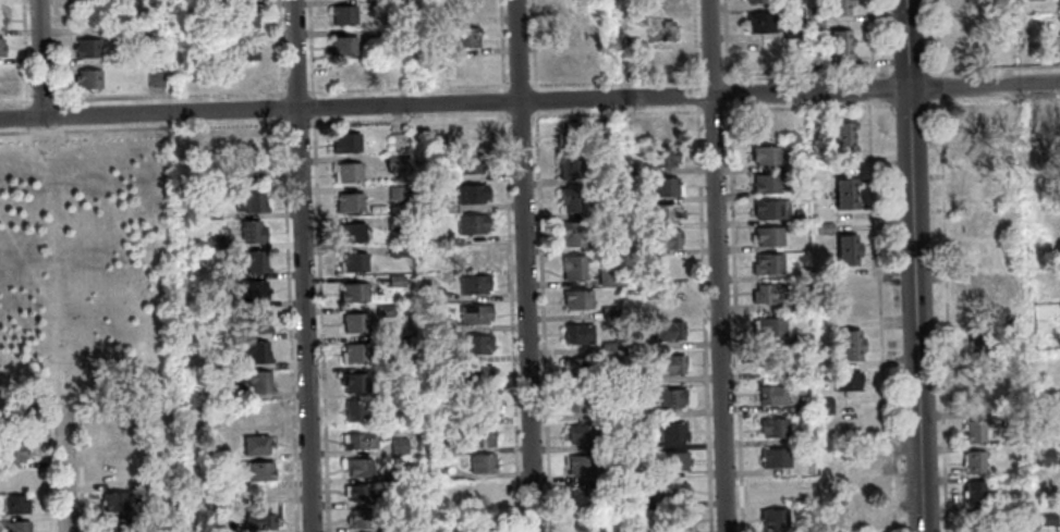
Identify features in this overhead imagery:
building: (758, 1)
building: (381, 4)
building: (1059, 4)
building: (660, 5)
building: (566, 7)
building: (837, 7)
building: (466, 8)
building: (625, 9)
building: (970, 10)
building: (815, 12)
building: (87, 14)
building: (343, 14)
building: (188, 15)
building: (248, 18)
building: (2, 20)
building: (148, 20)
building: (758, 22)
building: (791, 27)
building: (817, 28)
building: (378, 30)
building: (662, 30)
building: (570, 34)
building: (467, 36)
building: (838, 37)
road: (870, 37)
road: (936, 37)
building: (631, 41)
building: (1019, 42)
building: (343, 45)
building: (2, 46)
building: (87, 47)
building: (249, 47)
road: (278, 47)
road: (310, 47)
road: (24, 51)
road: (56, 52)
building: (838, 53)
building: (758, 54)
building: (220, 58)
road: (37, 59)
building: (593, 60)
building: (661, 61)
building: (812, 62)
building: (568, 63)
building: (796, 63)
road: (991, 67)
building: (349, 69)
road: (906, 71)
road: (795, 74)
building: (249, 76)
building: (88, 77)
building: (156, 79)
road: (614, 79)
road: (519, 83)
road: (407, 86)
road: (869, 87)
road: (937, 87)
road: (29, 89)
road: (296, 89)
road: (42, 94)
road: (170, 94)
road: (13, 99)
road: (991, 101)
road: (529, 102)
road: (906, 103)
road: (280, 106)
road: (312, 106)
street lamp: (892, 107)
road: (59, 110)
building: (1002, 112)
road: (599, 113)
road: (26, 114)
building: (967, 121)
road: (297, 122)
road: (27, 127)
road: (143, 127)
building: (601, 128)
building: (841, 128)
building: (662, 129)
building: (571, 133)
building: (465, 136)
building: (343, 141)
building: (249, 143)
building: (842, 145)
building: (763, 154)
building: (666, 157)
building: (393, 162)
building: (466, 162)
building: (570, 164)
building: (629, 164)
building: (249, 170)
building: (344, 172)
building: (764, 184)
building: (842, 184)
building: (666, 185)
road: (870, 185)
building: (976, 187)
building: (395, 191)
building: (467, 193)
building: (247, 199)
building: (573, 199)
building: (843, 200)
building: (346, 202)
building: (424, 203)
building: (768, 209)
building: (192, 211)
building: (667, 212)
building: (795, 215)
building: (393, 222)
building: (975, 222)
building: (468, 223)
building: (821, 227)
building: (249, 231)
building: (350, 231)
building: (573, 233)
building: (424, 234)
building: (766, 235)
building: (666, 238)
building: (214, 242)
building: (392, 249)
building: (844, 249)
building: (475, 253)
road: (943, 256)
building: (974, 256)
building: (252, 260)
building: (351, 261)
park: (86, 262)
building: (765, 264)
road: (301, 265)
road: (508, 265)
road: (523, 265)
road: (540, 265)
road: (702, 265)
road: (716, 265)
road: (733, 265)
road: (913, 265)
building: (574, 267)
building: (805, 267)
road: (874, 270)
building: (608, 275)
road: (56, 277)
building: (394, 281)
building: (473, 283)
building: (247, 288)
building: (351, 293)
building: (766, 293)
building: (977, 293)
building: (434, 295)
building: (577, 299)
building: (799, 302)
building: (609, 309)
building: (381, 310)
building: (473, 313)
building: (254, 322)
building: (352, 322)
building: (429, 322)
road: (287, 324)
road: (318, 324)
building: (767, 326)
building: (669, 330)
building: (578, 333)
building: (801, 338)
building: (977, 341)
building: (473, 344)
building: (848, 344)
building: (401, 345)
building: (353, 351)
building: (373, 351)
building: (254, 352)
building: (435, 355)
building: (769, 360)
building: (672, 363)
building: (576, 367)
building: (801, 373)
building: (474, 374)
building: (611, 378)
building: (637, 378)
building: (256, 381)
building: (844, 381)
building: (352, 382)
building: (410, 382)
building: (437, 386)
building: (982, 391)
building: (219, 393)
building: (769, 394)
building: (673, 397)
building: (581, 400)
road: (882, 404)
building: (475, 405)
building: (823, 405)
building: (804, 407)
building: (352, 409)
building: (637, 410)
road: (48, 411)
building: (612, 411)
road: (960, 413)
building: (1008, 419)
building: (11, 424)
building: (113, 424)
building: (771, 428)
building: (974, 430)
building: (673, 431)
building: (583, 434)
building: (802, 434)
building: (478, 437)
building: (355, 440)
building: (641, 442)
building: (253, 443)
building: (395, 445)
building: (442, 446)
building: (113, 449)
building: (9, 451)
building: (1041, 456)
building: (773, 458)
building: (674, 460)
building: (973, 461)
building: (858, 462)
road: (46, 463)
building: (479, 463)
building: (583, 463)
building: (356, 467)
building: (257, 469)
building: (431, 469)
road: (60, 470)
road: (77, 470)
building: (406, 472)
road: (945, 472)
building: (110, 474)
building: (11, 478)
building: (163, 478)
building: (486, 488)
building: (772, 488)
building: (360, 492)
building: (675, 492)
building: (973, 492)
building: (584, 495)
building: (112, 499)
building: (162, 499)
building: (643, 502)
building: (12, 504)
building: (772, 518)
building: (358, 519)
building: (862, 519)
building: (1045, 519)
building: (256, 520)
building: (678, 520)
building: (973, 521)
building: (113, 524)
building: (13, 525)
building: (804, 527)
building: (162, 529)
building: (620, 530)
building: (482, 531)
building: (643, 531)

